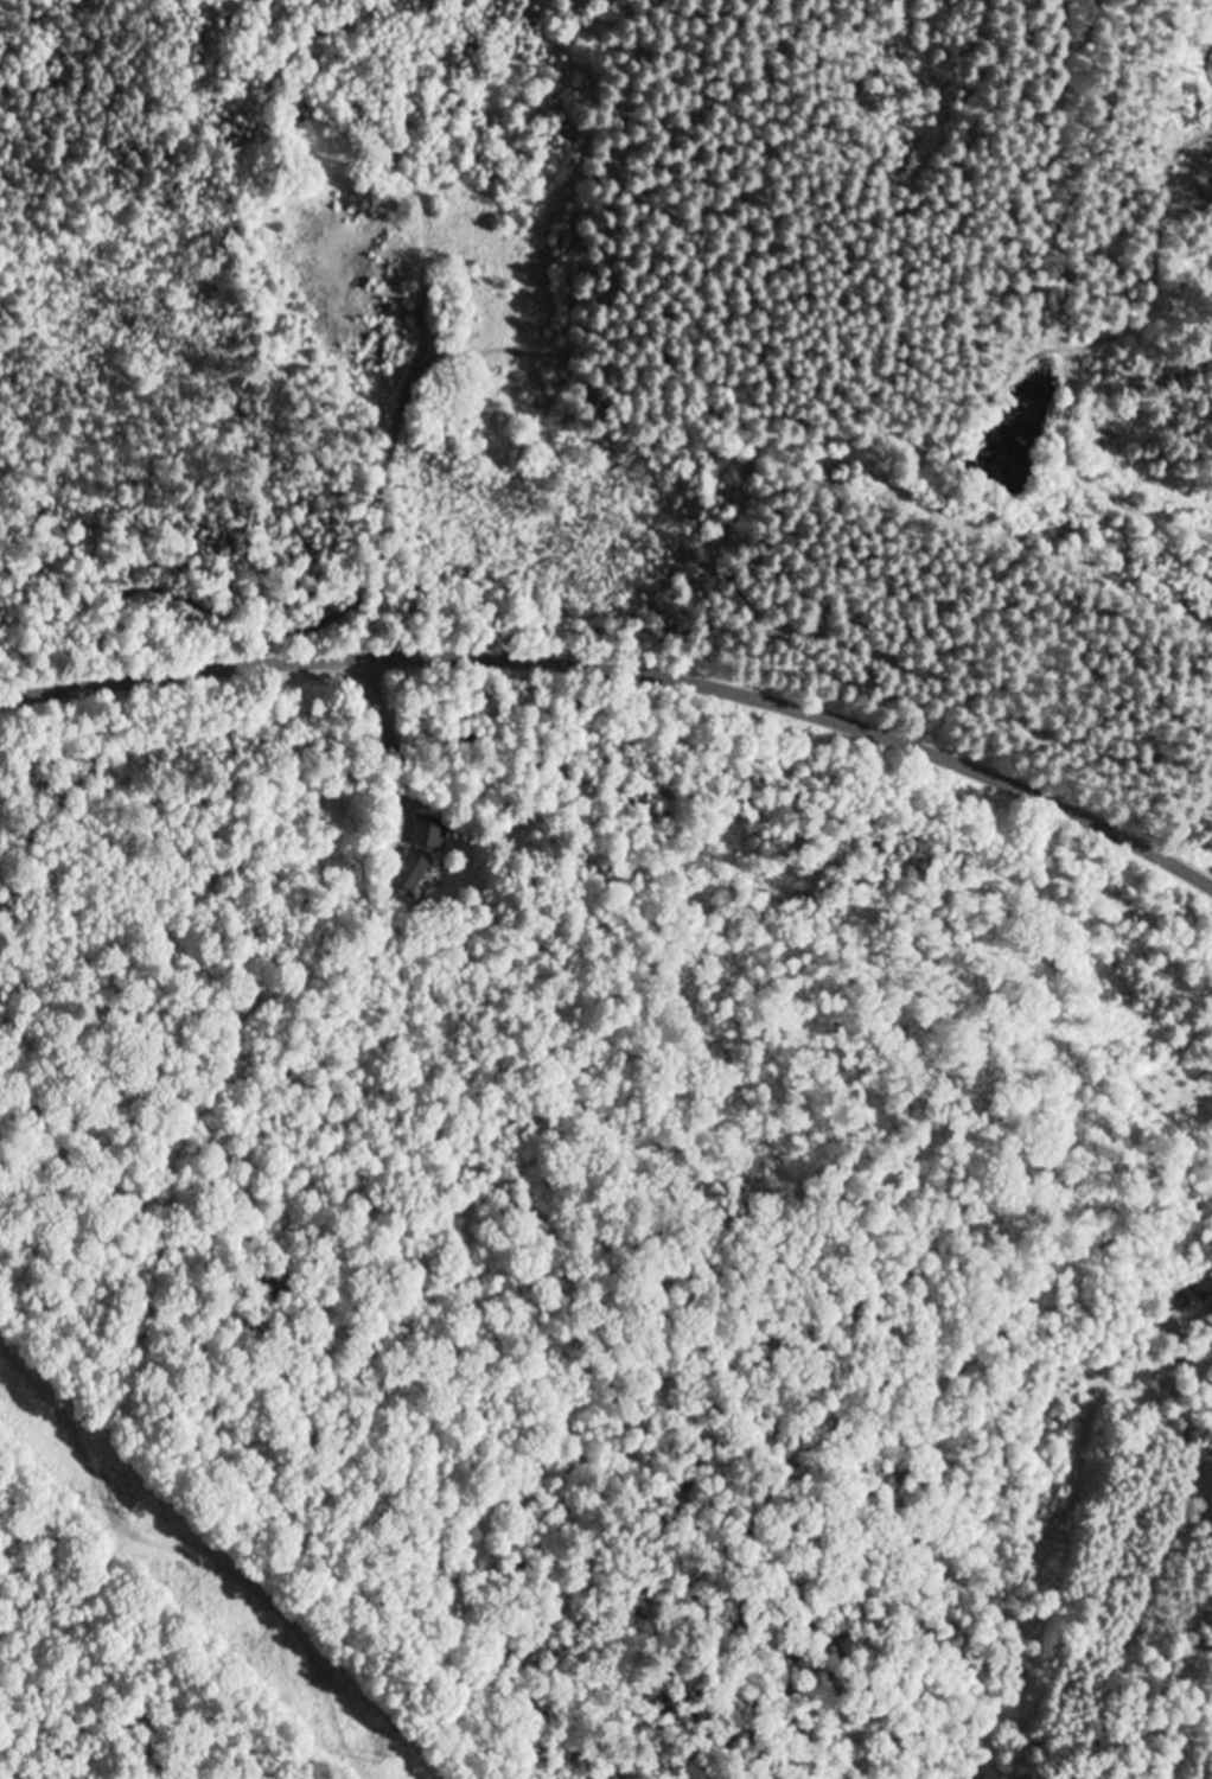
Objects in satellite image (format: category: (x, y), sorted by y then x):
road: (626, 681)
road: (627, 740)
building: (429, 833)
building: (412, 872)
power tower: (132, 1513)
power tower: (383, 1760)

